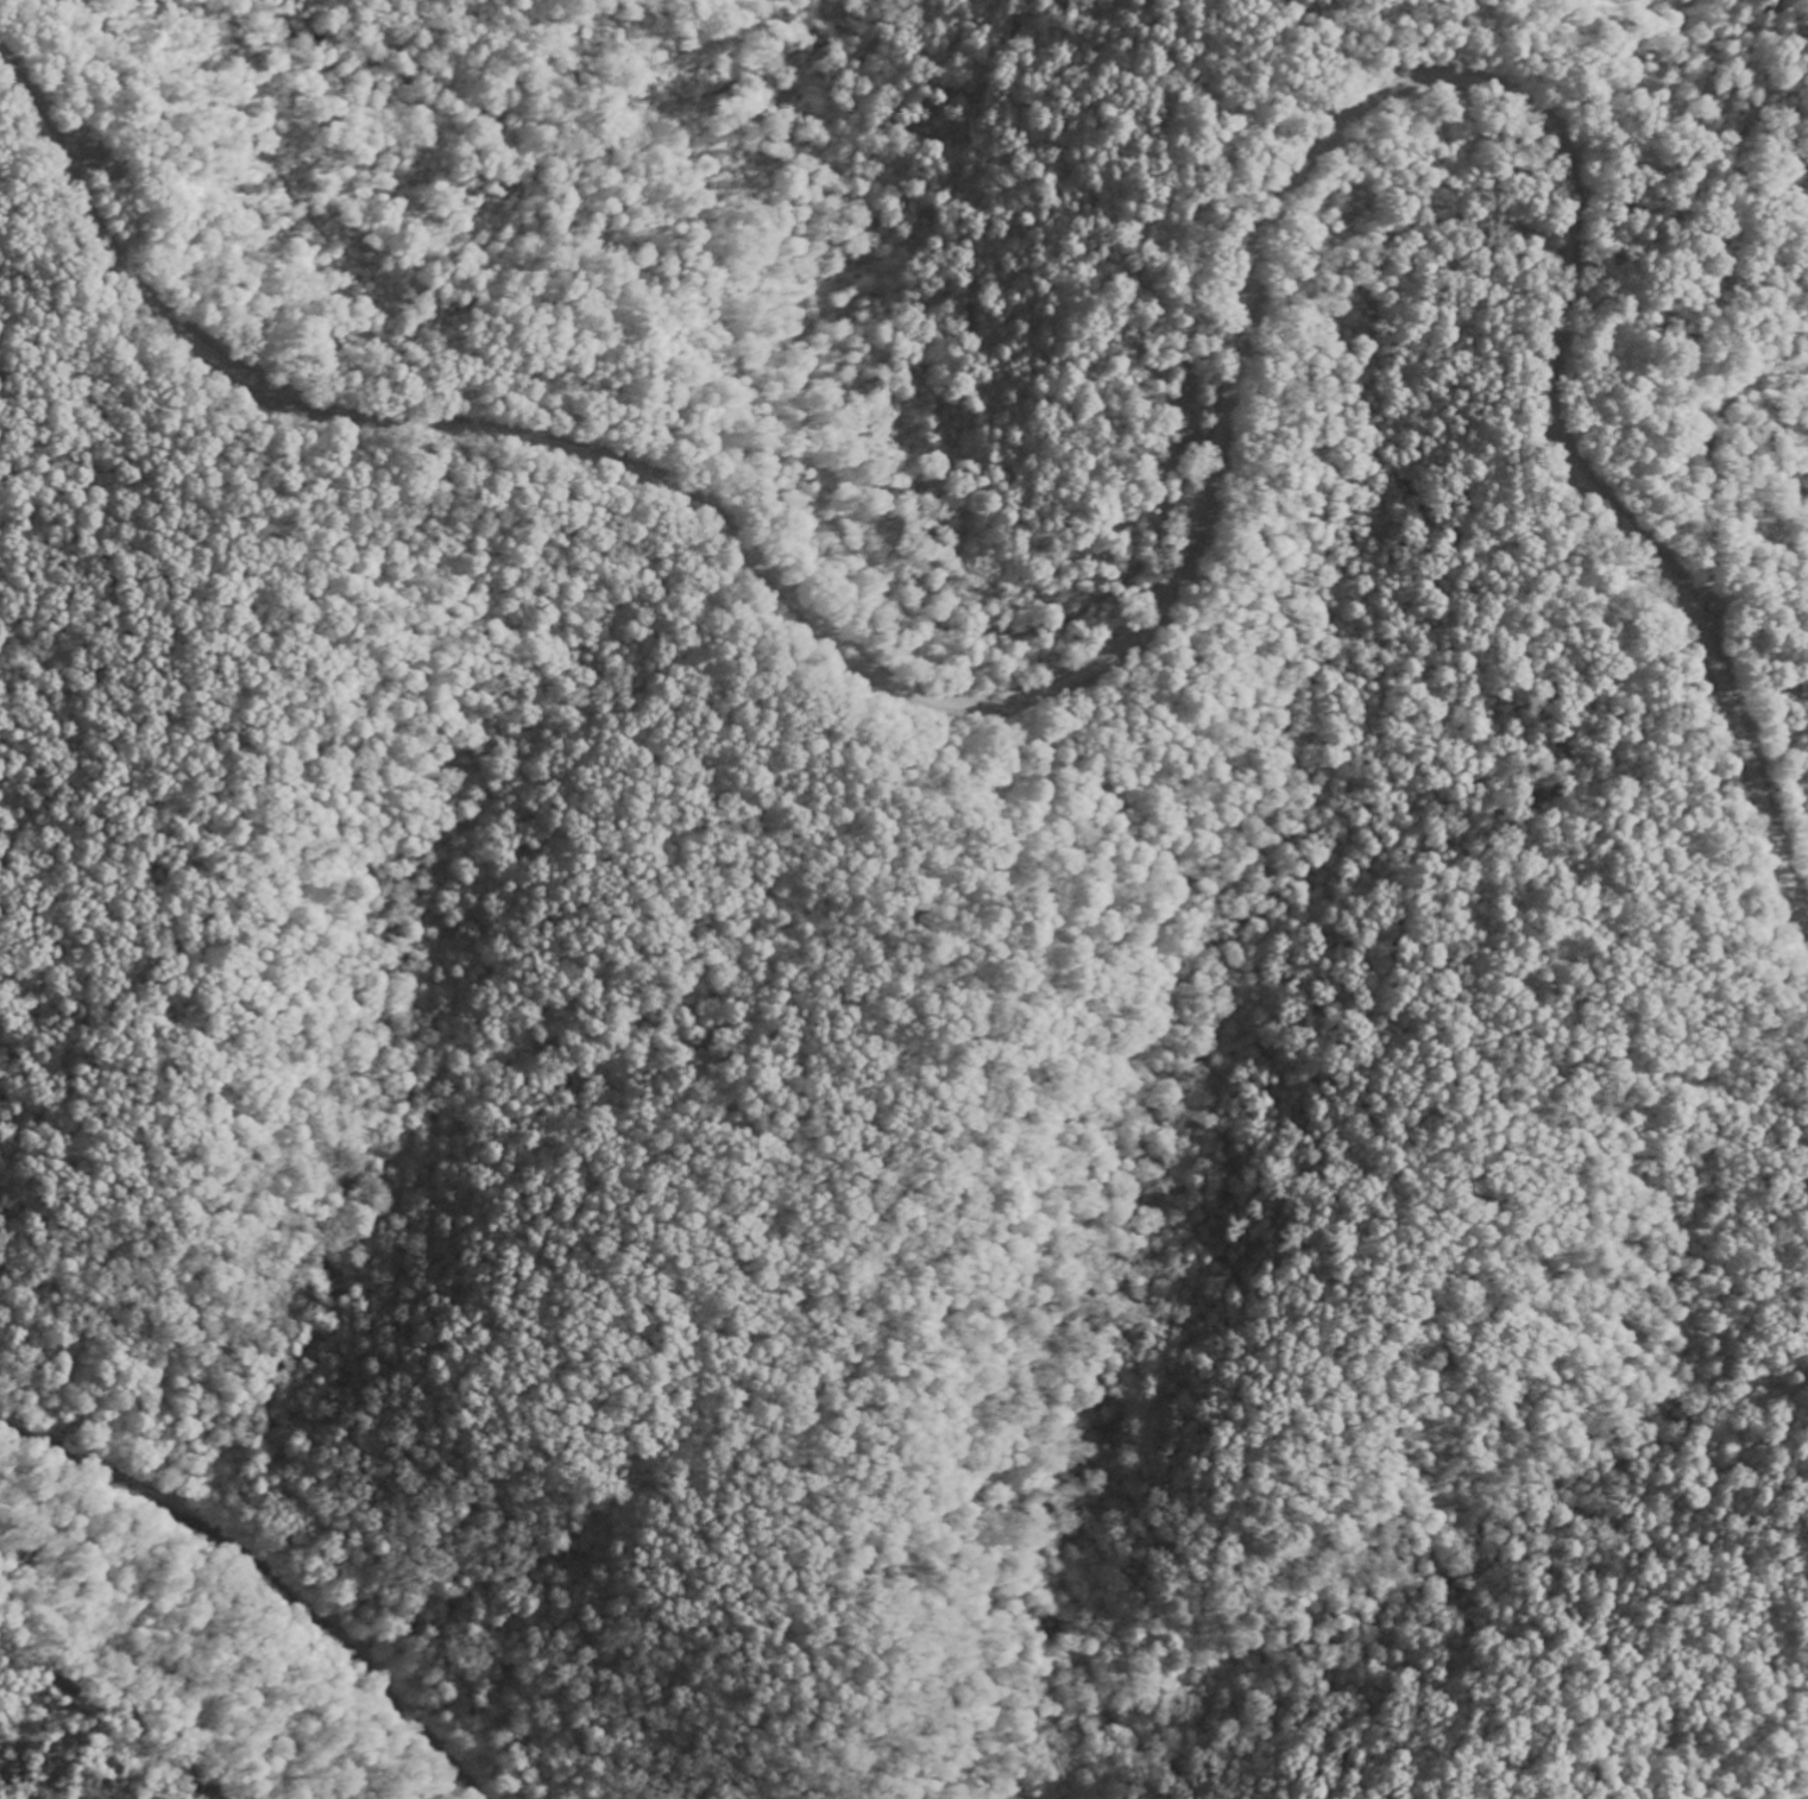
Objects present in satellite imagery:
road: (1186, 529)

